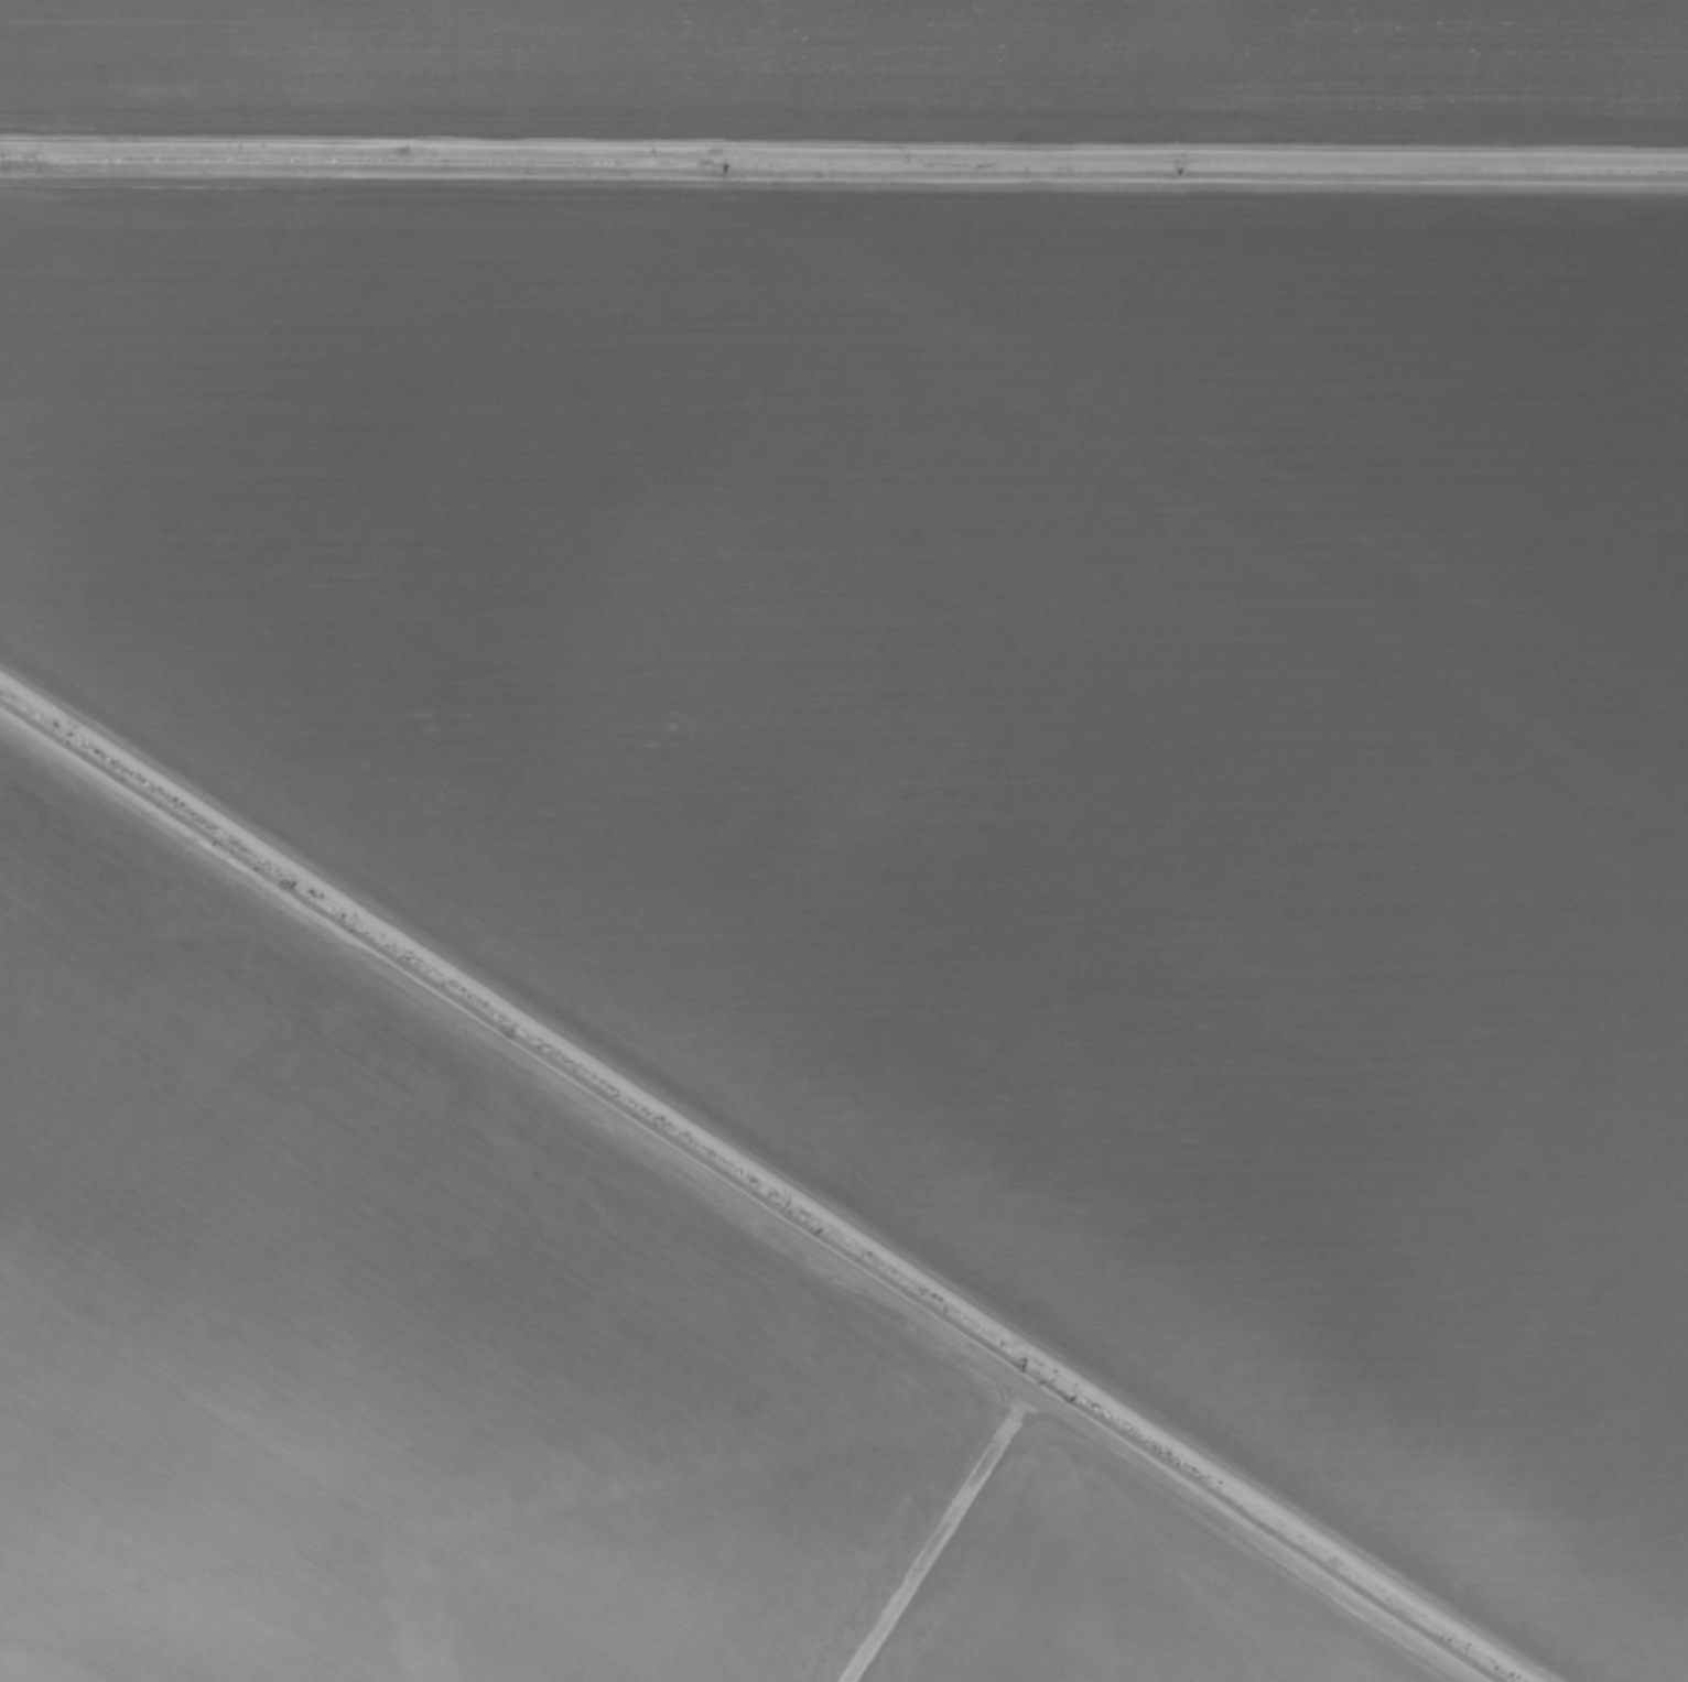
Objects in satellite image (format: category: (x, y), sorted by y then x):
road: (844, 195)
crop: (844, 840)

